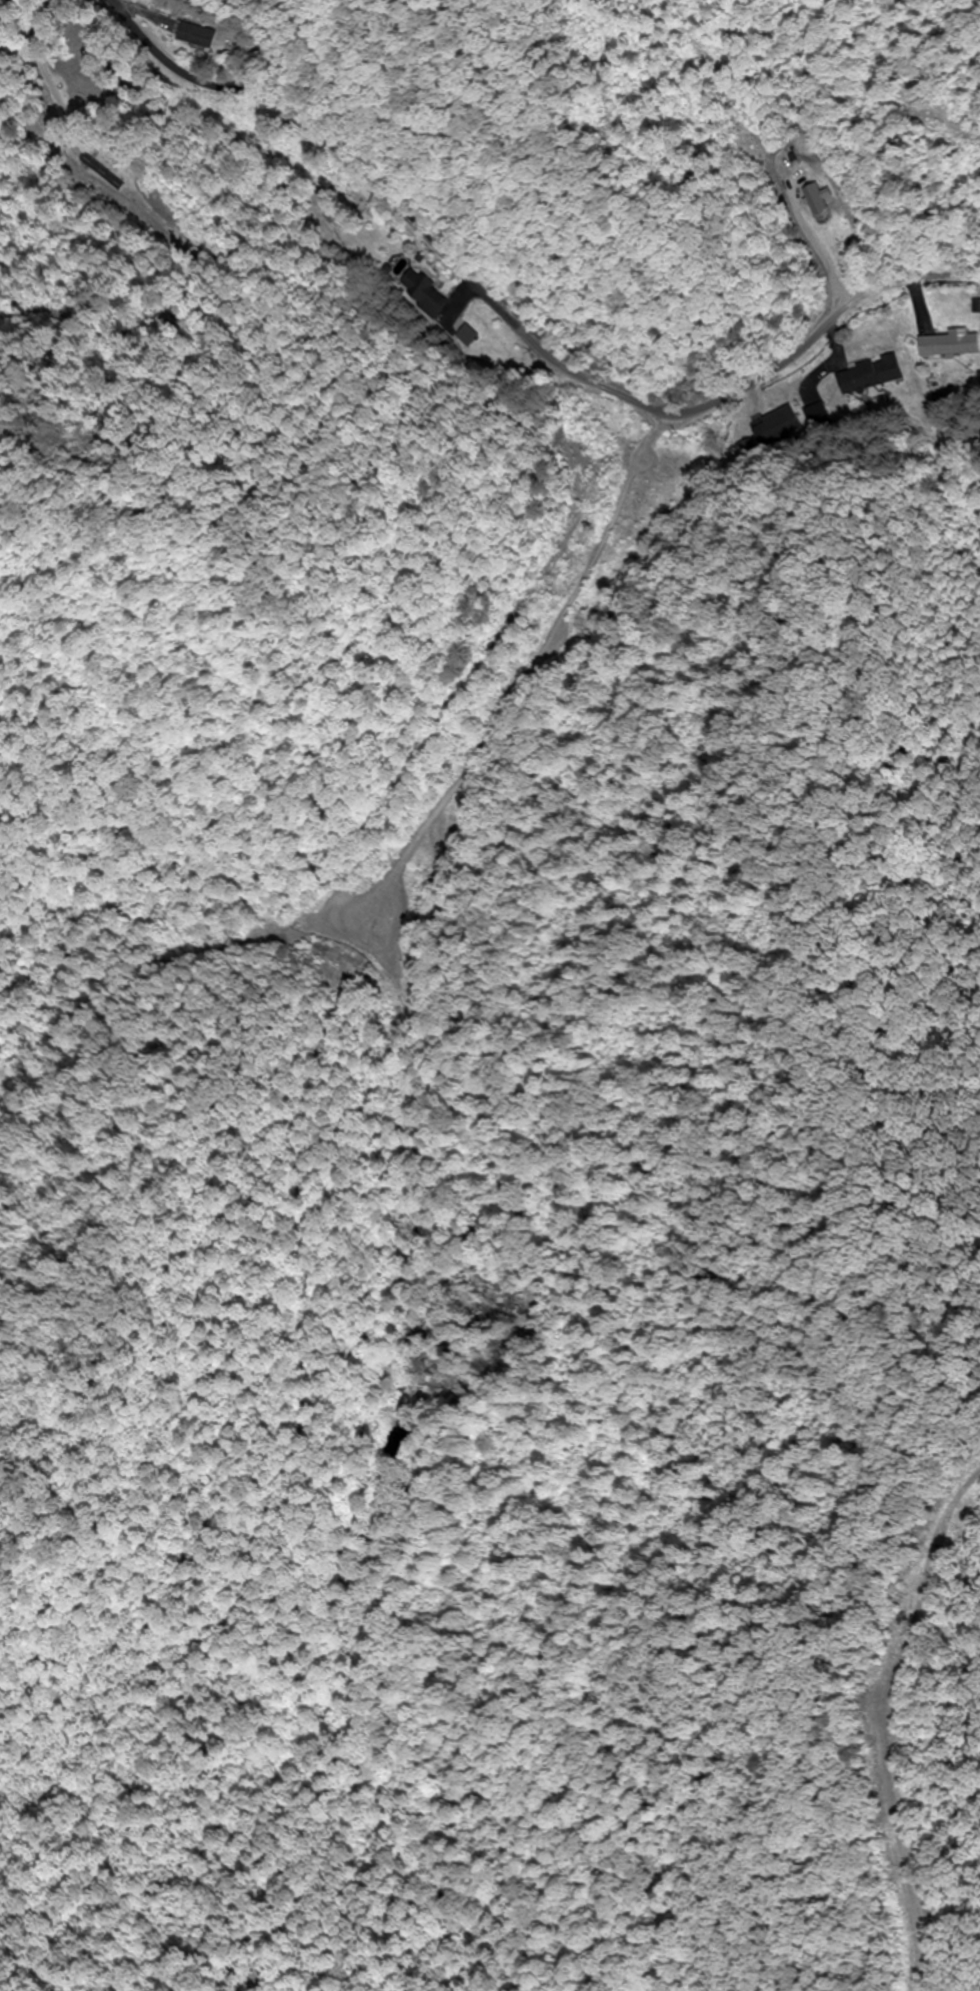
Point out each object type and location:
building: (203, 35)
building: (86, 163)
building: (819, 203)
building: (425, 290)
road: (522, 321)
building: (953, 345)
building: (874, 375)

